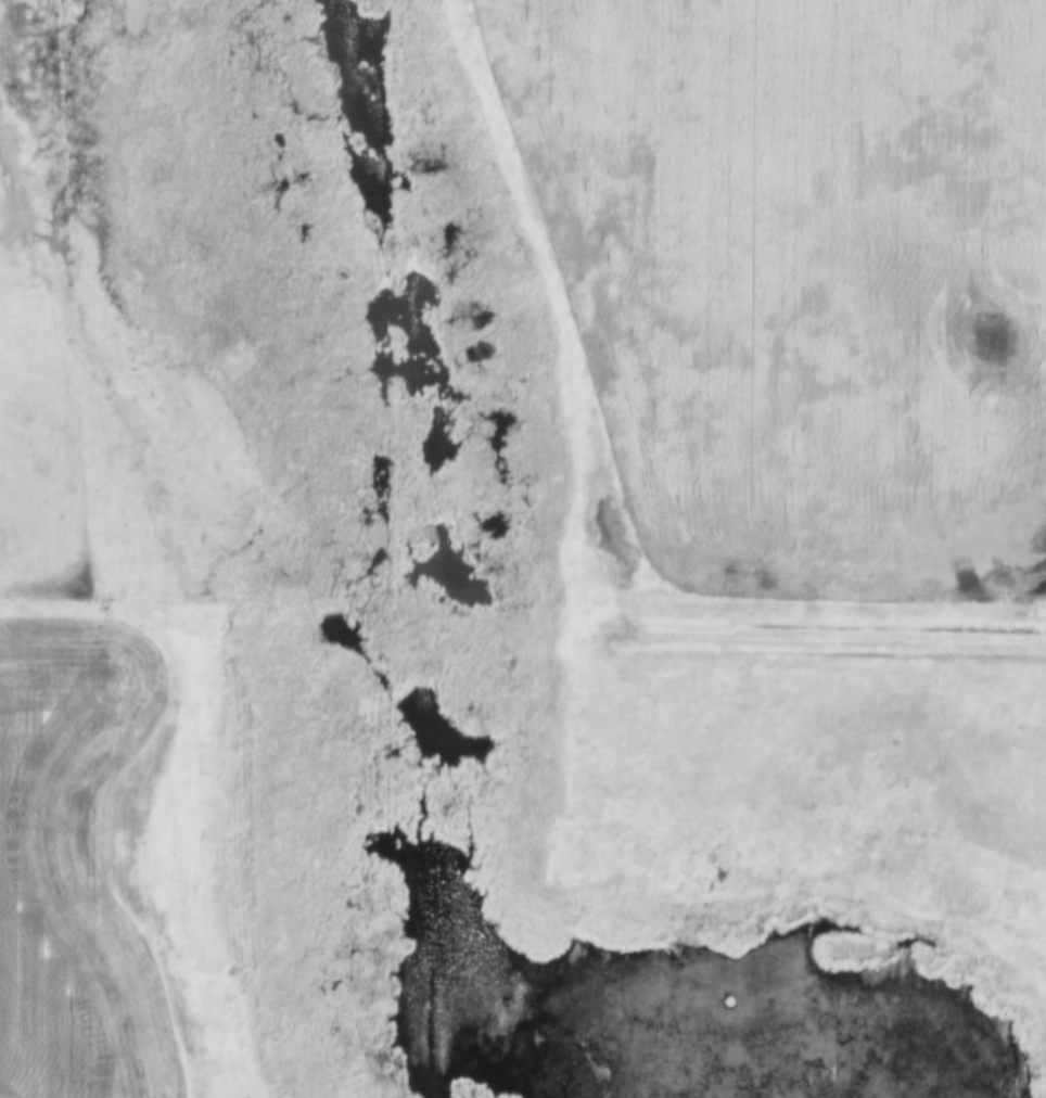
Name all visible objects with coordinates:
road: (832, 611)

